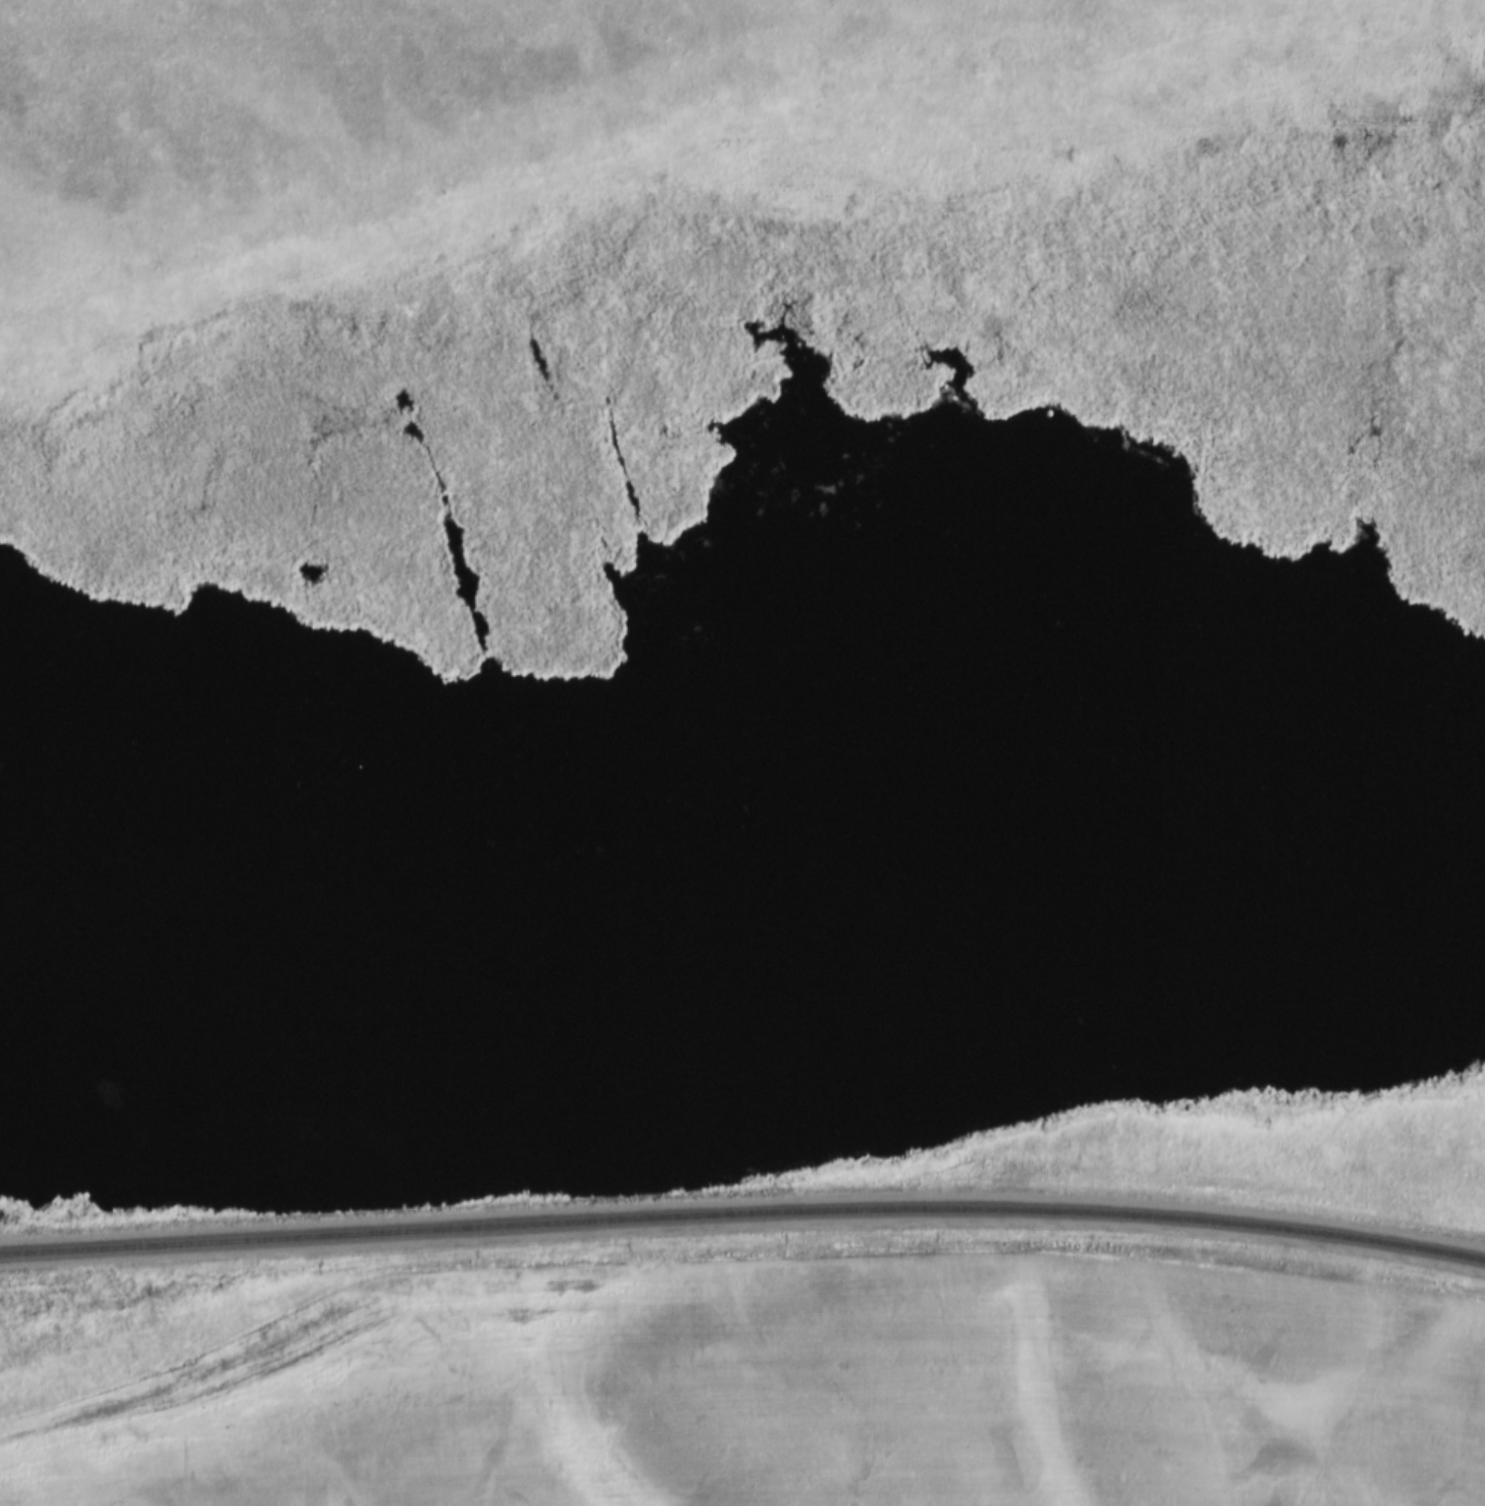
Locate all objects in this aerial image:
railway: (743, 1215)

